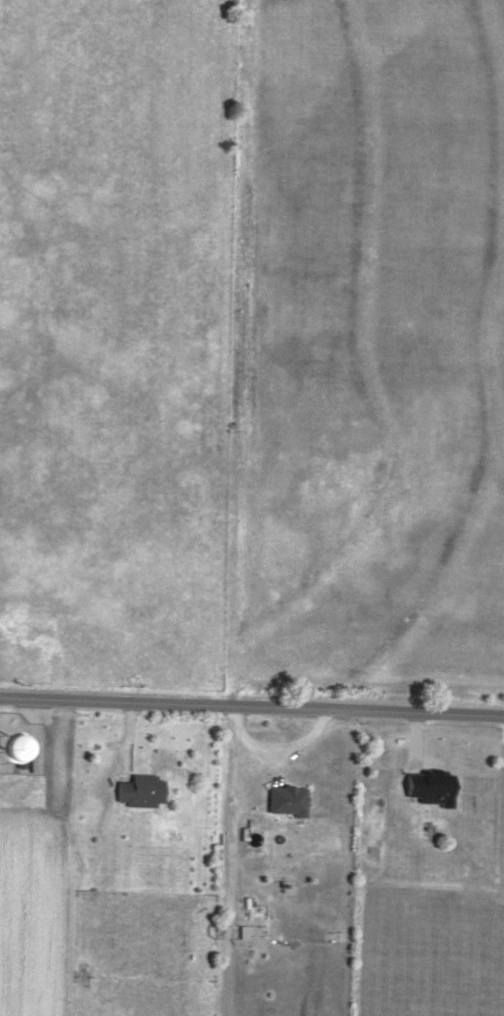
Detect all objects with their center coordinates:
road: (252, 703)
building: (431, 786)
building: (141, 789)
building: (287, 798)

